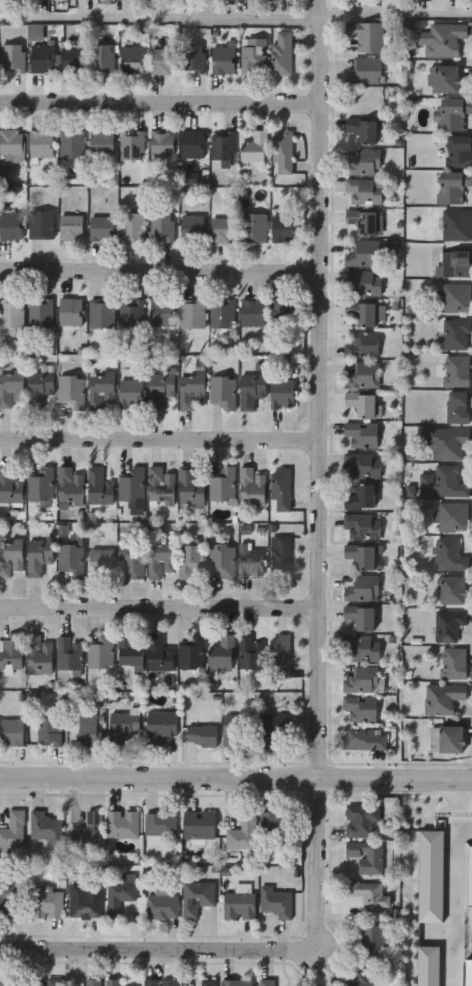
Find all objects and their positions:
building: (9, 0)
road: (236, 13)
building: (364, 36)
building: (444, 40)
building: (282, 53)
building: (254, 56)
building: (102, 57)
building: (13, 58)
building: (43, 58)
building: (73, 59)
building: (193, 59)
building: (132, 60)
building: (164, 61)
building: (224, 61)
building: (366, 71)
building: (448, 80)
road: (158, 94)
building: (451, 114)
building: (363, 130)
building: (12, 143)
building: (102, 143)
building: (163, 143)
building: (42, 144)
building: (132, 145)
building: (194, 145)
building: (72, 146)
building: (223, 147)
building: (257, 148)
building: (283, 152)
building: (459, 152)
building: (365, 162)
building: (452, 186)
building: (364, 192)
building: (365, 222)
building: (41, 225)
building: (456, 225)
building: (11, 226)
building: (162, 226)
building: (132, 227)
building: (71, 228)
building: (254, 228)
building: (102, 229)
building: (193, 229)
building: (284, 229)
building: (223, 230)
building: (364, 255)
building: (453, 264)
road: (157, 274)
building: (363, 284)
building: (455, 298)
building: (71, 311)
building: (40, 312)
building: (162, 312)
building: (282, 312)
building: (101, 313)
building: (131, 313)
building: (253, 313)
building: (365, 313)
building: (193, 314)
building: (222, 314)
building: (11, 316)
building: (455, 335)
building: (362, 345)
building: (456, 371)
building: (363, 376)
building: (39, 386)
building: (11, 389)
building: (101, 389)
building: (161, 389)
building: (193, 390)
building: (71, 391)
building: (223, 391)
building: (253, 392)
building: (131, 393)
building: (282, 394)
building: (363, 404)
building: (457, 408)
road: (157, 429)
building: (361, 434)
building: (445, 442)
road: (316, 461)
building: (361, 466)
building: (448, 483)
building: (131, 484)
building: (41, 485)
building: (224, 485)
building: (9, 486)
building: (252, 486)
building: (70, 487)
building: (100, 487)
building: (162, 487)
building: (192, 487)
building: (281, 488)
building: (362, 497)
building: (452, 517)
building: (361, 526)
building: (281, 553)
building: (449, 555)
building: (38, 556)
building: (361, 556)
building: (10, 557)
building: (161, 558)
building: (223, 559)
building: (191, 560)
building: (133, 561)
building: (251, 561)
building: (101, 563)
building: (362, 589)
building: (454, 590)
road: (158, 599)
building: (361, 616)
building: (448, 625)
building: (362, 647)
building: (131, 651)
building: (225, 651)
building: (11, 652)
building: (101, 652)
building: (68, 653)
building: (160, 653)
building: (191, 653)
building: (251, 653)
building: (38, 655)
building: (282, 656)
building: (453, 663)
building: (362, 680)
building: (442, 698)
building: (361, 708)
building: (163, 724)
building: (123, 726)
building: (255, 728)
building: (88, 729)
building: (11, 732)
building: (49, 732)
building: (203, 734)
building: (364, 739)
building: (447, 740)
road: (236, 776)
building: (361, 819)
building: (160, 822)
building: (121, 823)
building: (274, 823)
building: (199, 824)
building: (43, 826)
building: (12, 830)
building: (87, 832)
building: (242, 832)
building: (366, 856)
building: (431, 875)
building: (468, 875)
road: (454, 882)
building: (8, 893)
building: (118, 894)
building: (369, 894)
building: (196, 896)
building: (85, 901)
building: (275, 901)
building: (45, 903)
building: (161, 904)
building: (238, 904)
road: (463, 933)
building: (374, 940)
road: (170, 947)
building: (427, 966)
building: (467, 972)
building: (361, 979)
building: (9, 982)
building: (53, 982)
building: (103, 982)
building: (159, 982)
building: (208, 982)
building: (238, 982)
building: (267, 982)

